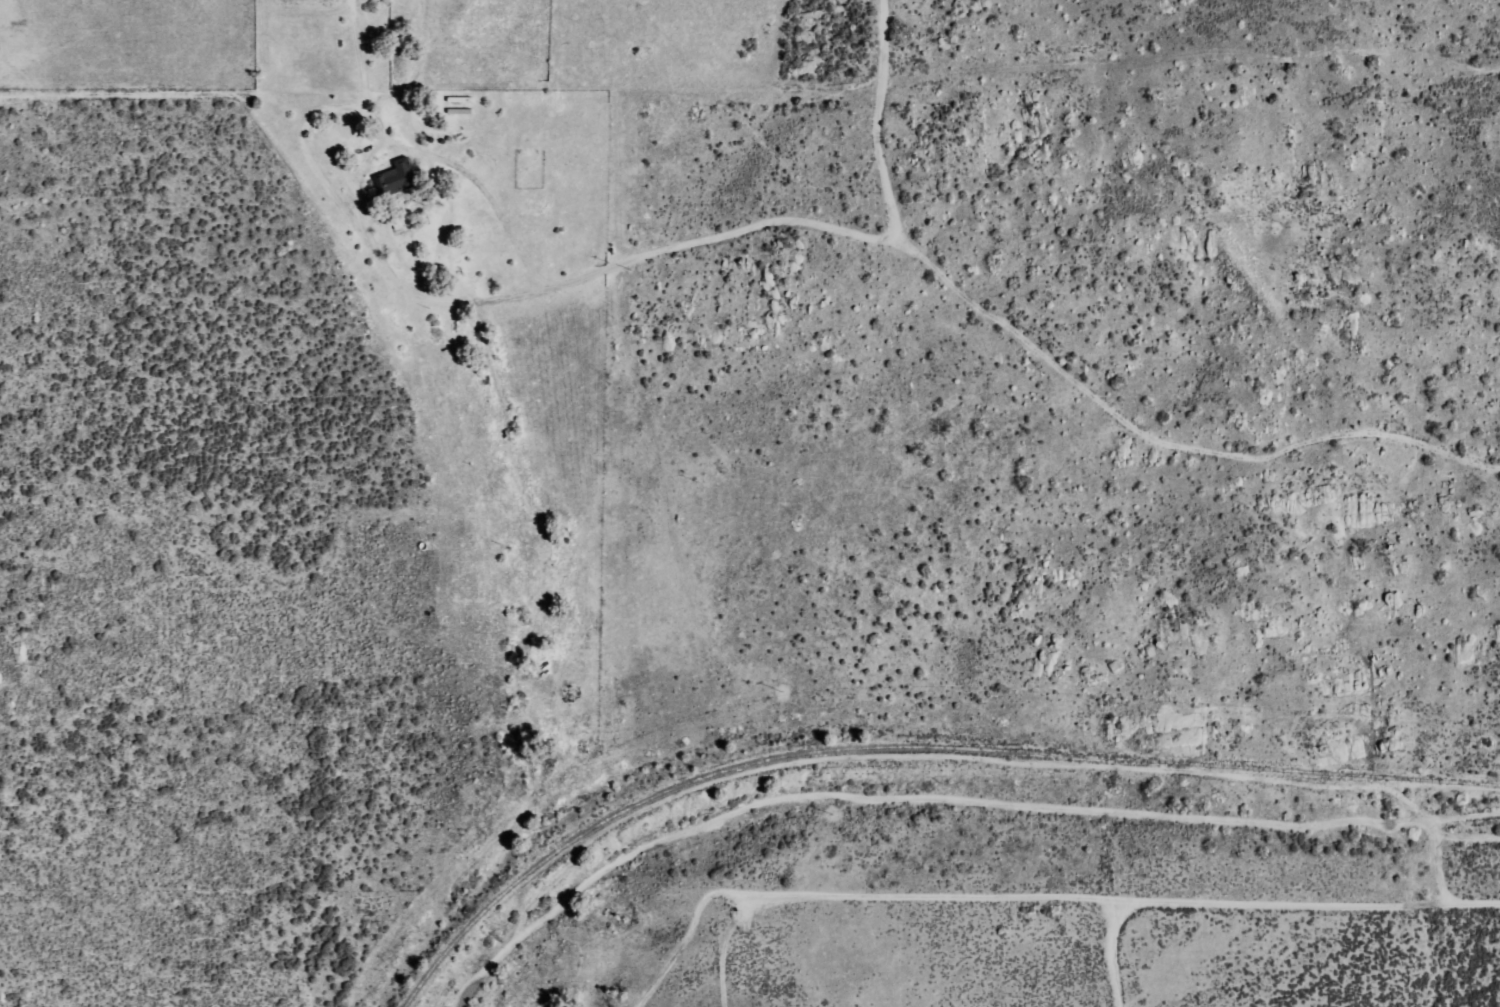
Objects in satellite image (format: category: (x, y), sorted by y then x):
road: (293, 67)
building: (393, 179)
railway: (908, 747)
road: (1490, 905)
road: (1255, 910)

